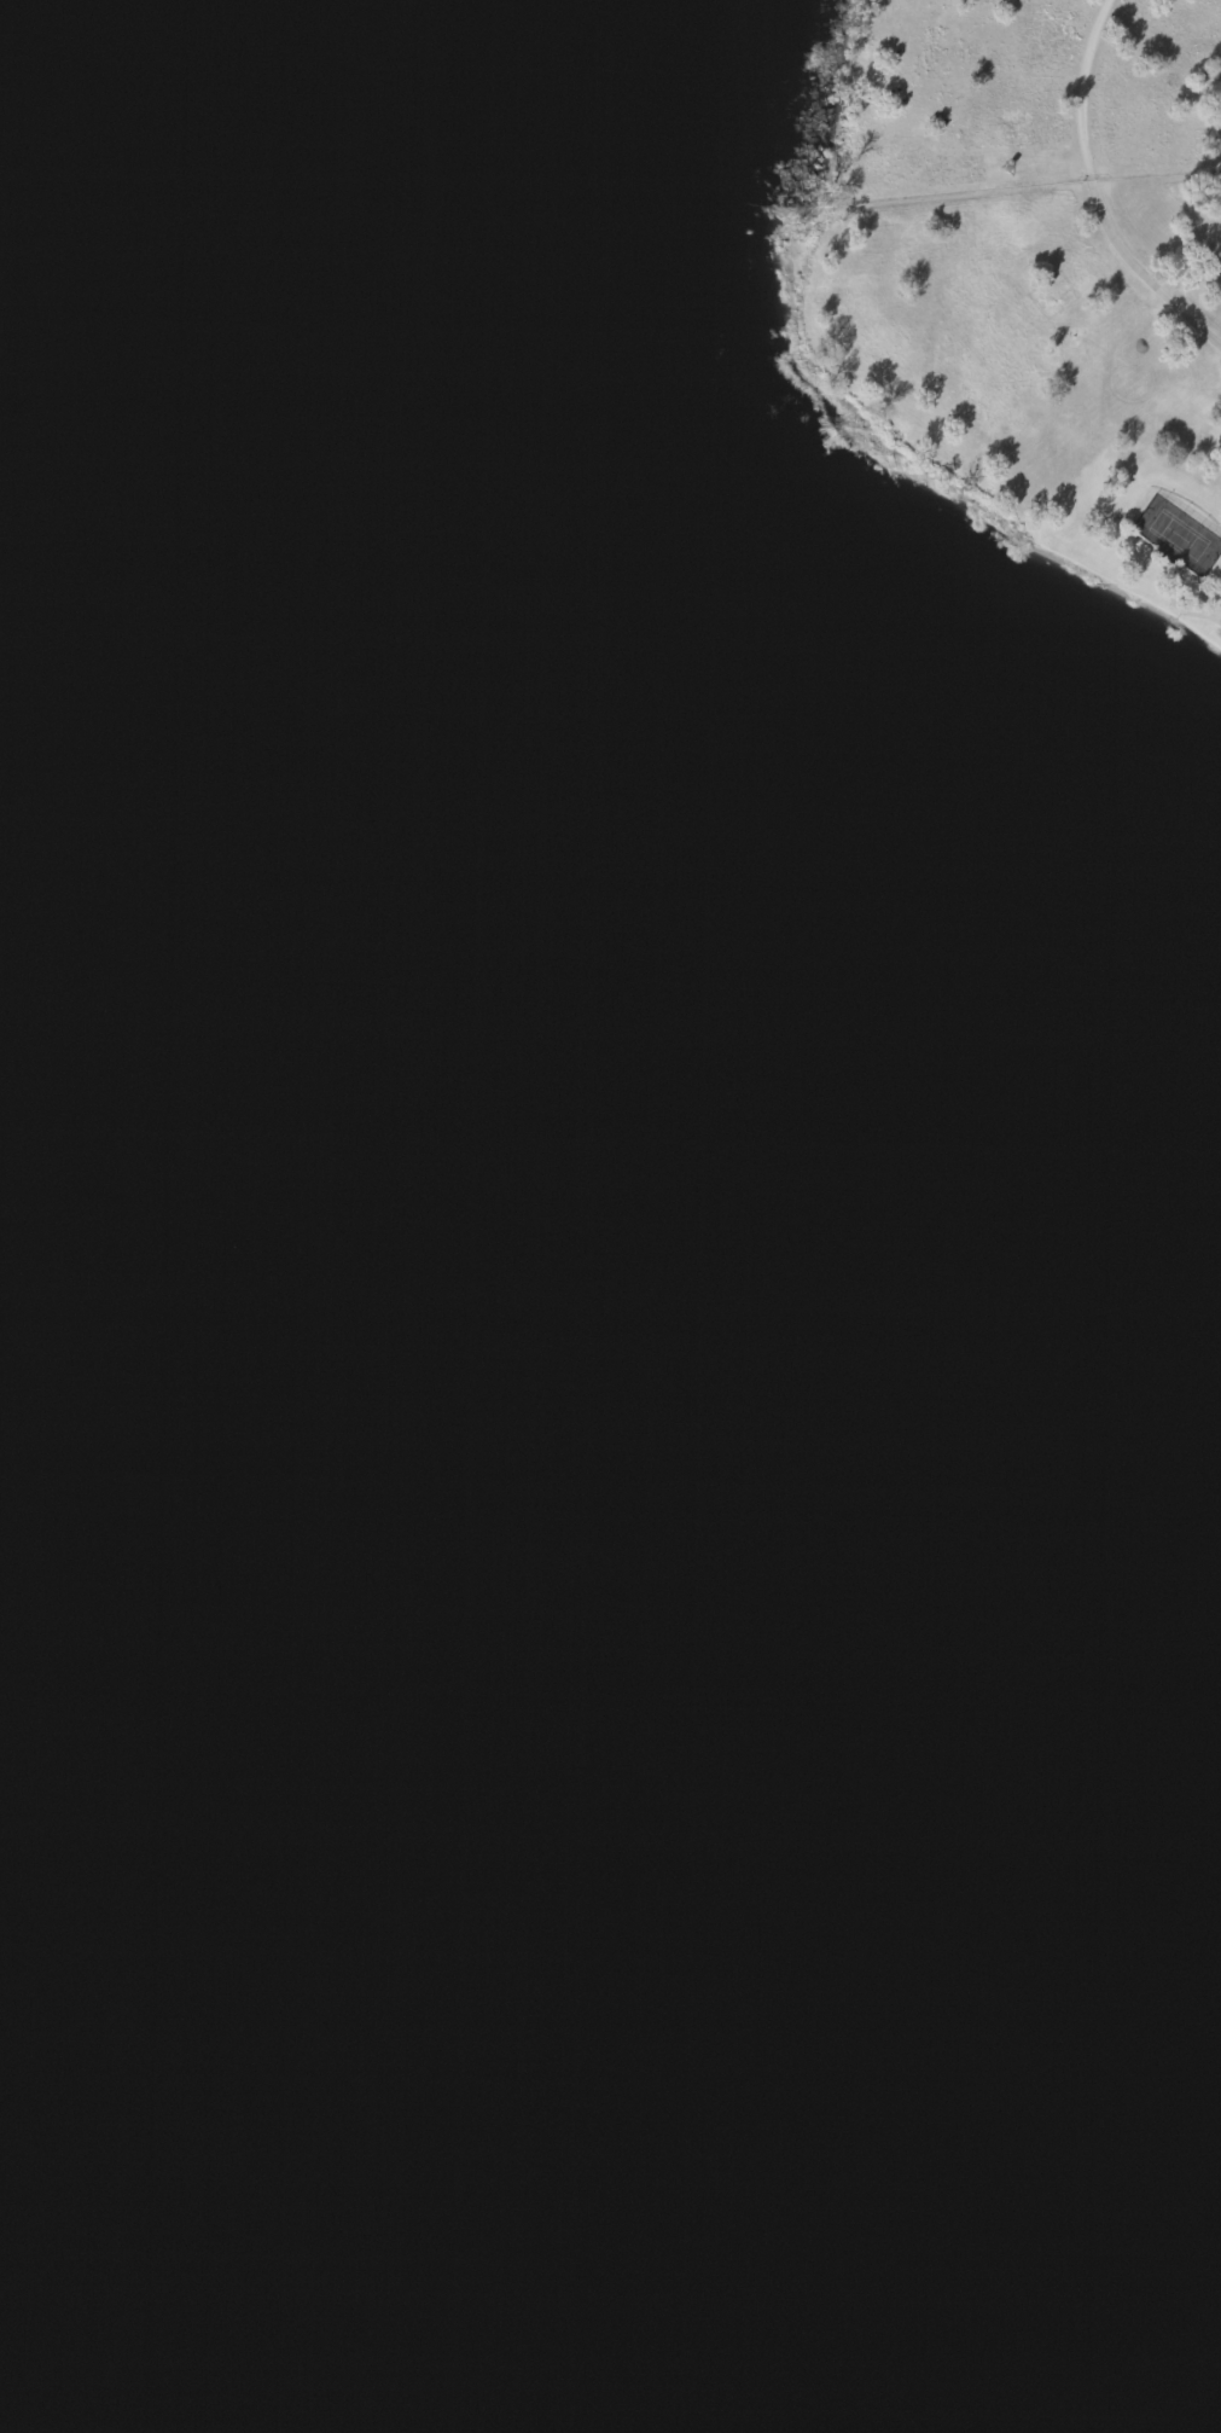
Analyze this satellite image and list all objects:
road: (1094, 192)
park: (1178, 535)
road: (1174, 570)
road: (1187, 611)
river: (187, 2025)

